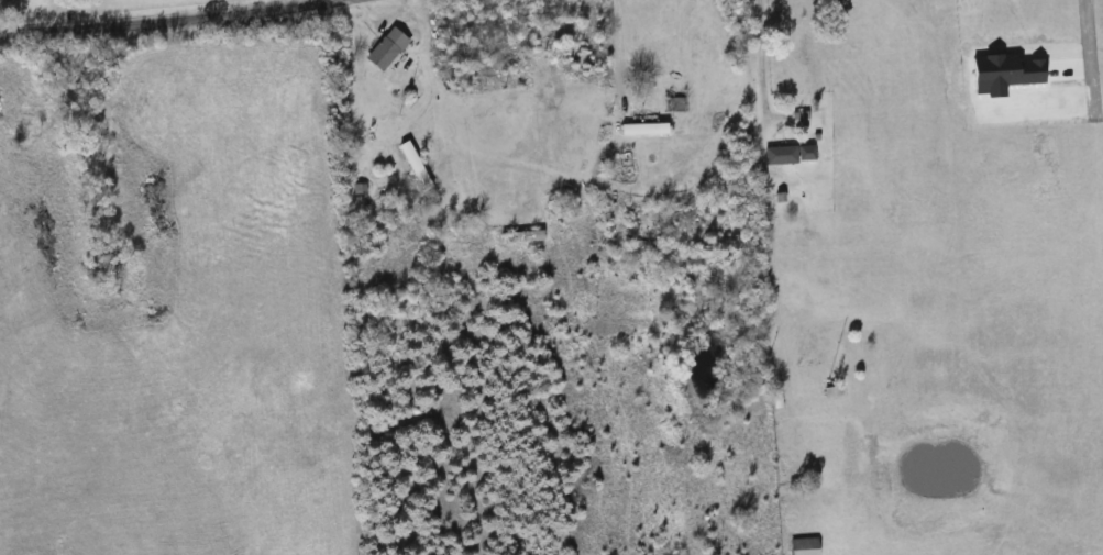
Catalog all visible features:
road: (286, 3)
road: (174, 20)
building: (383, 49)
road: (1072, 49)
road: (748, 66)
building: (674, 104)
building: (796, 120)
building: (639, 130)
building: (785, 154)
building: (408, 163)
building: (788, 266)
building: (825, 365)
building: (799, 546)

